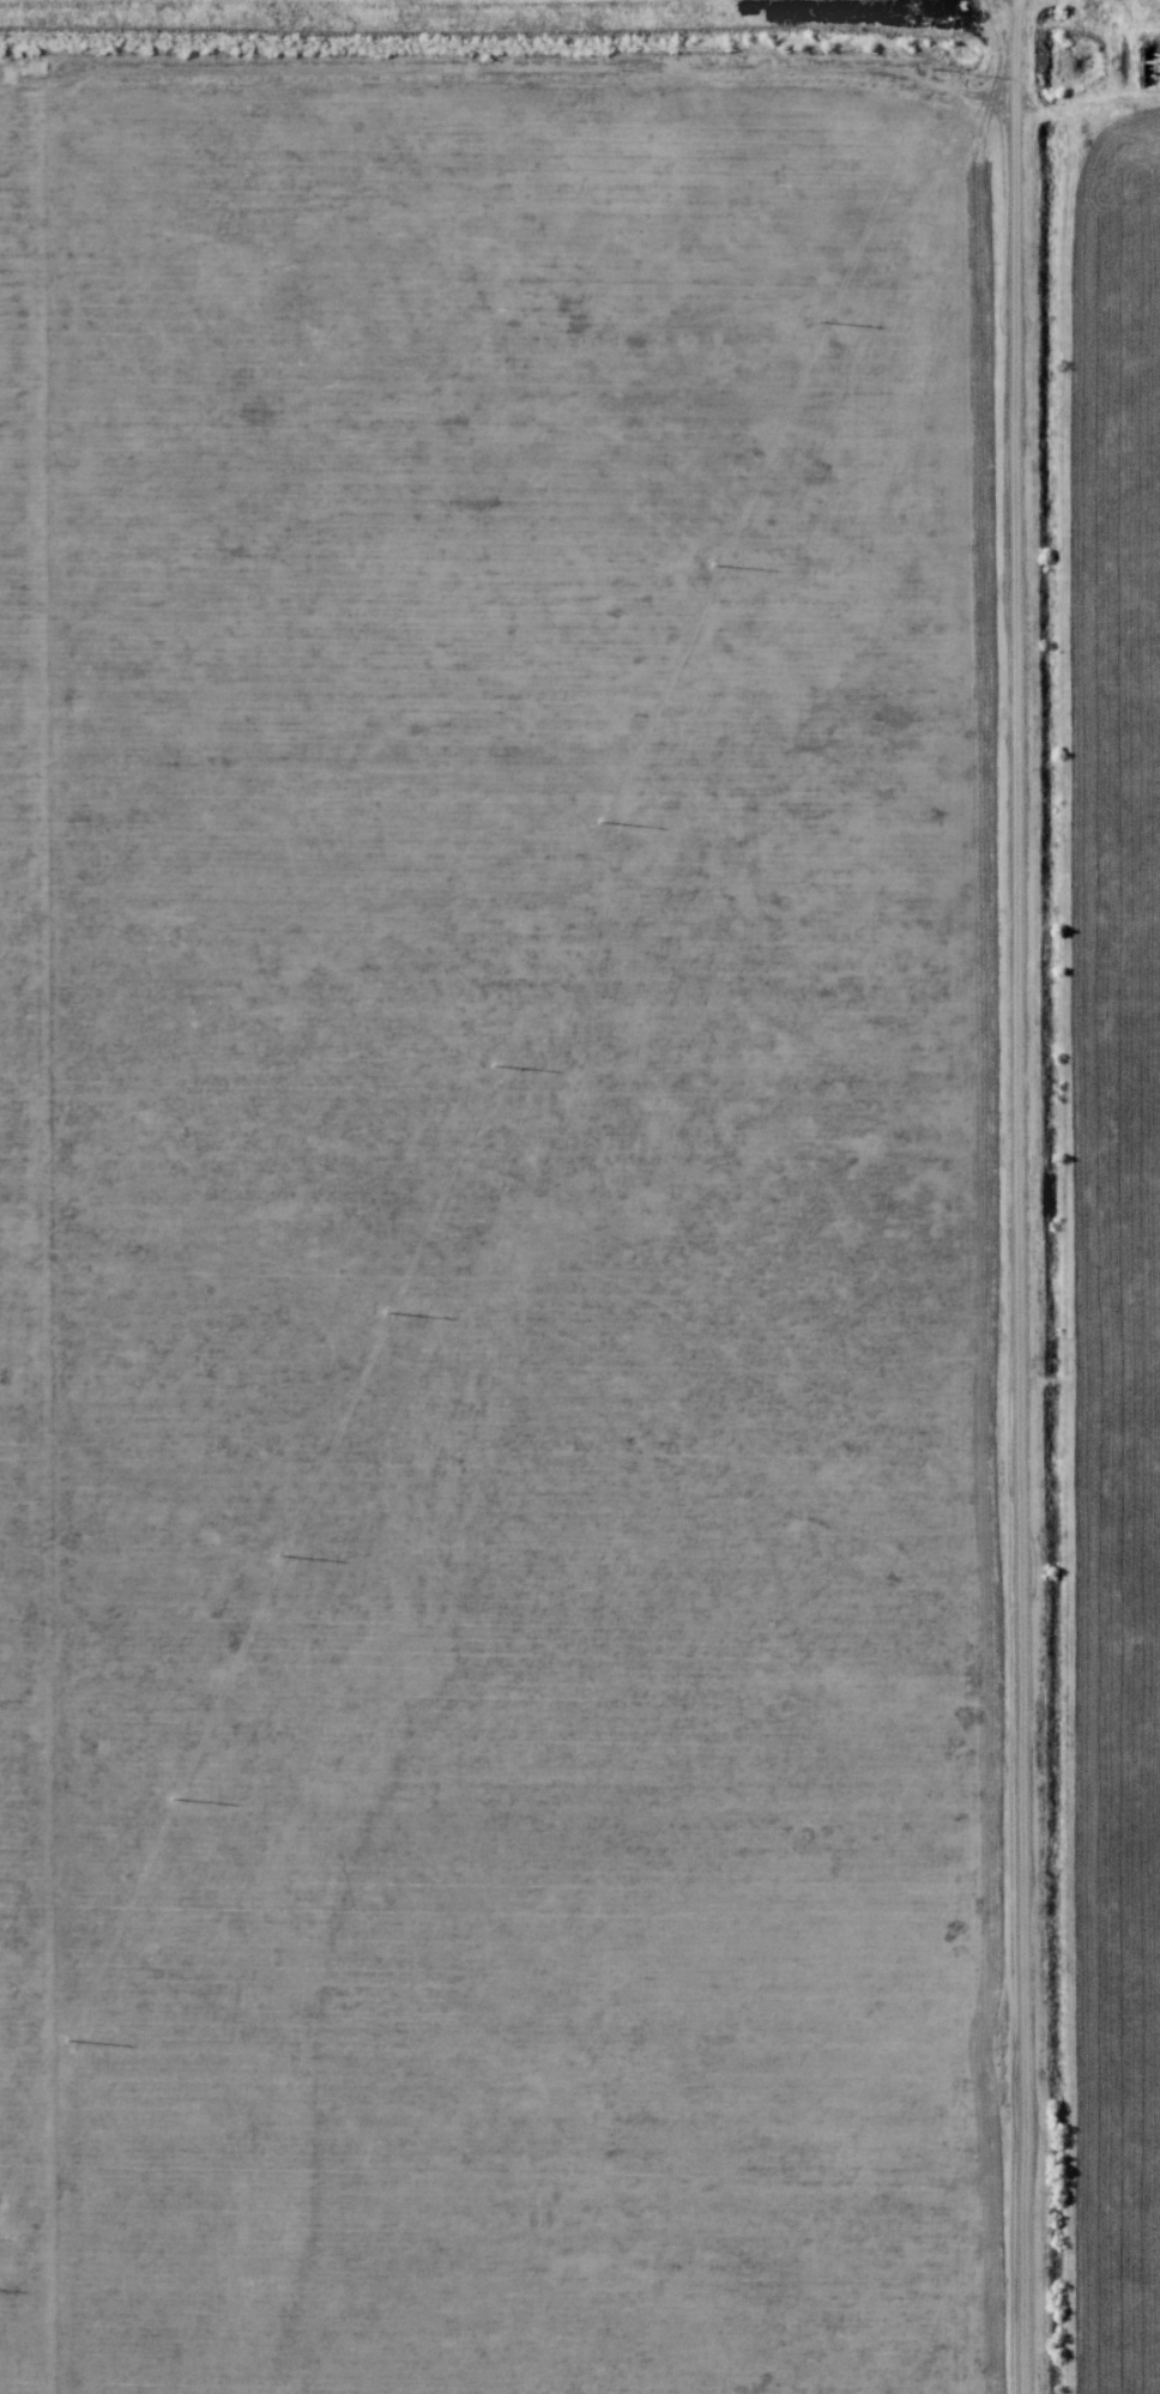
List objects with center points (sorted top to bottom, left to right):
road: (1031, 1196)

